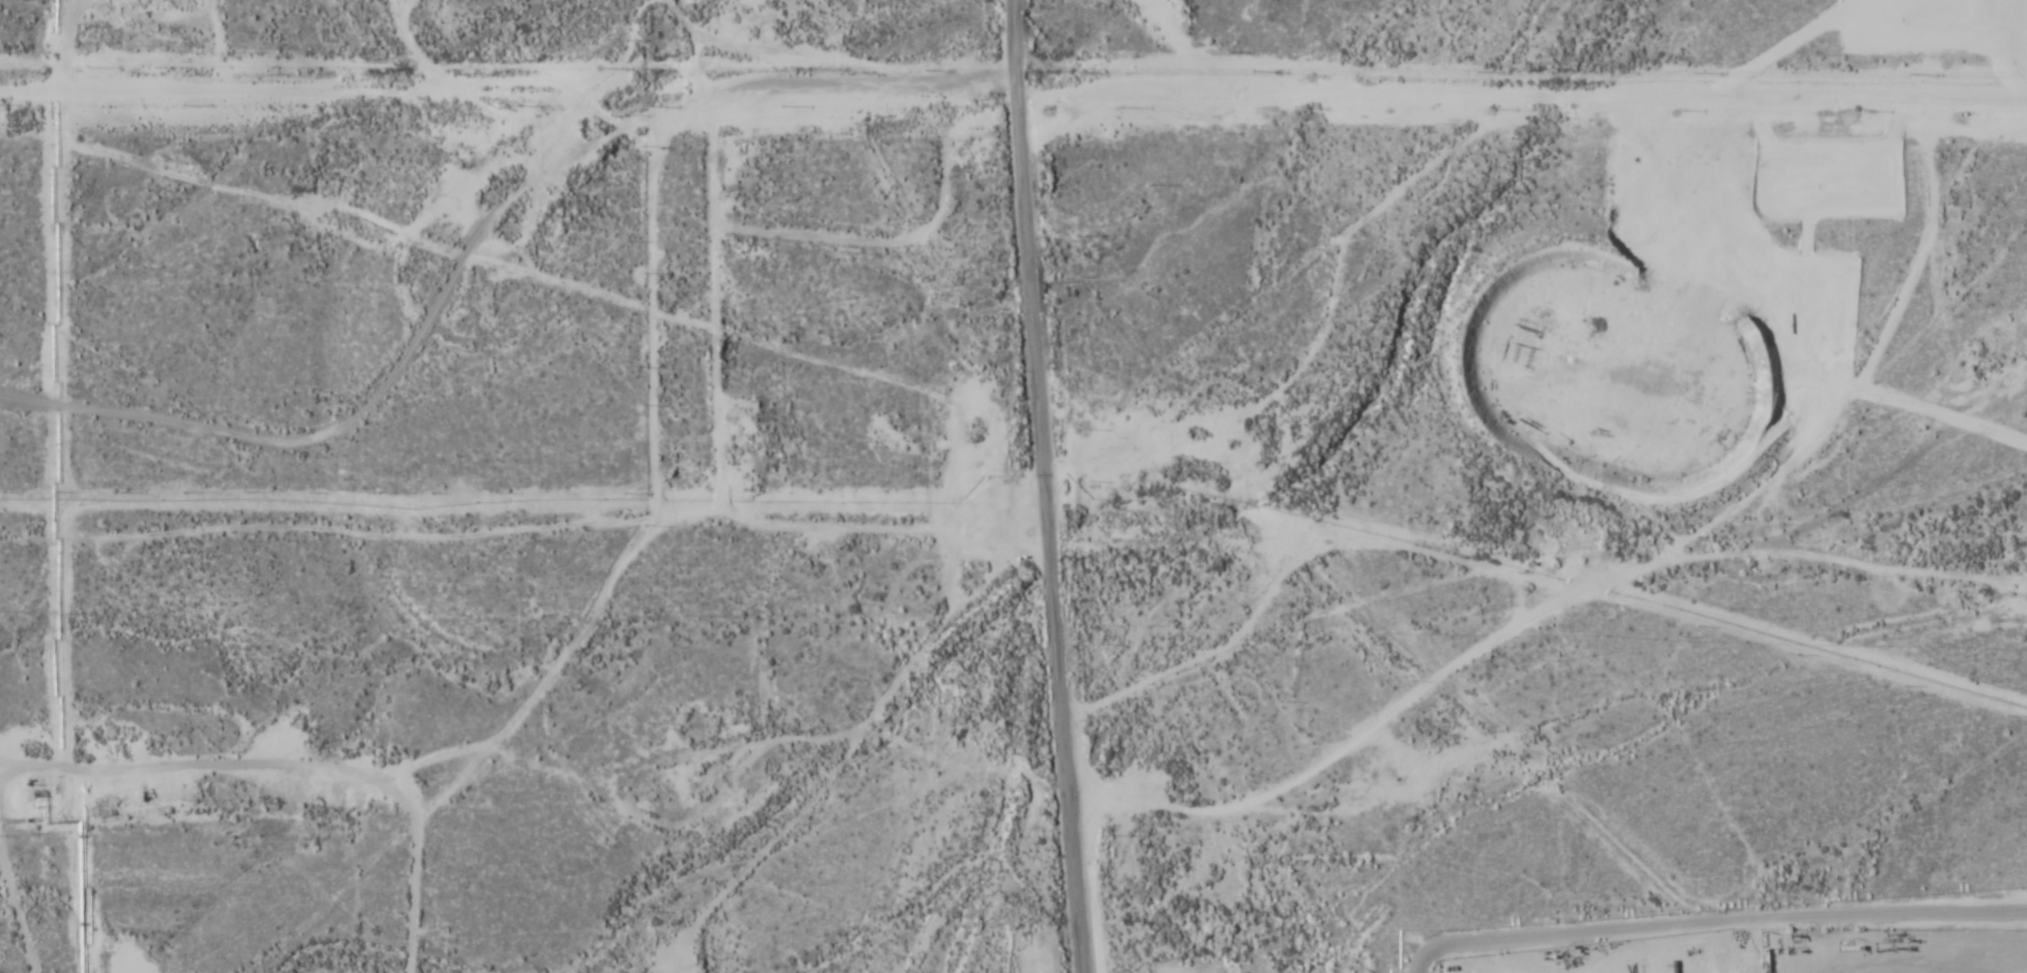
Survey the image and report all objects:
road: (482, 244)
road: (1047, 486)
road: (527, 531)
road: (1530, 628)
road: (16, 905)

